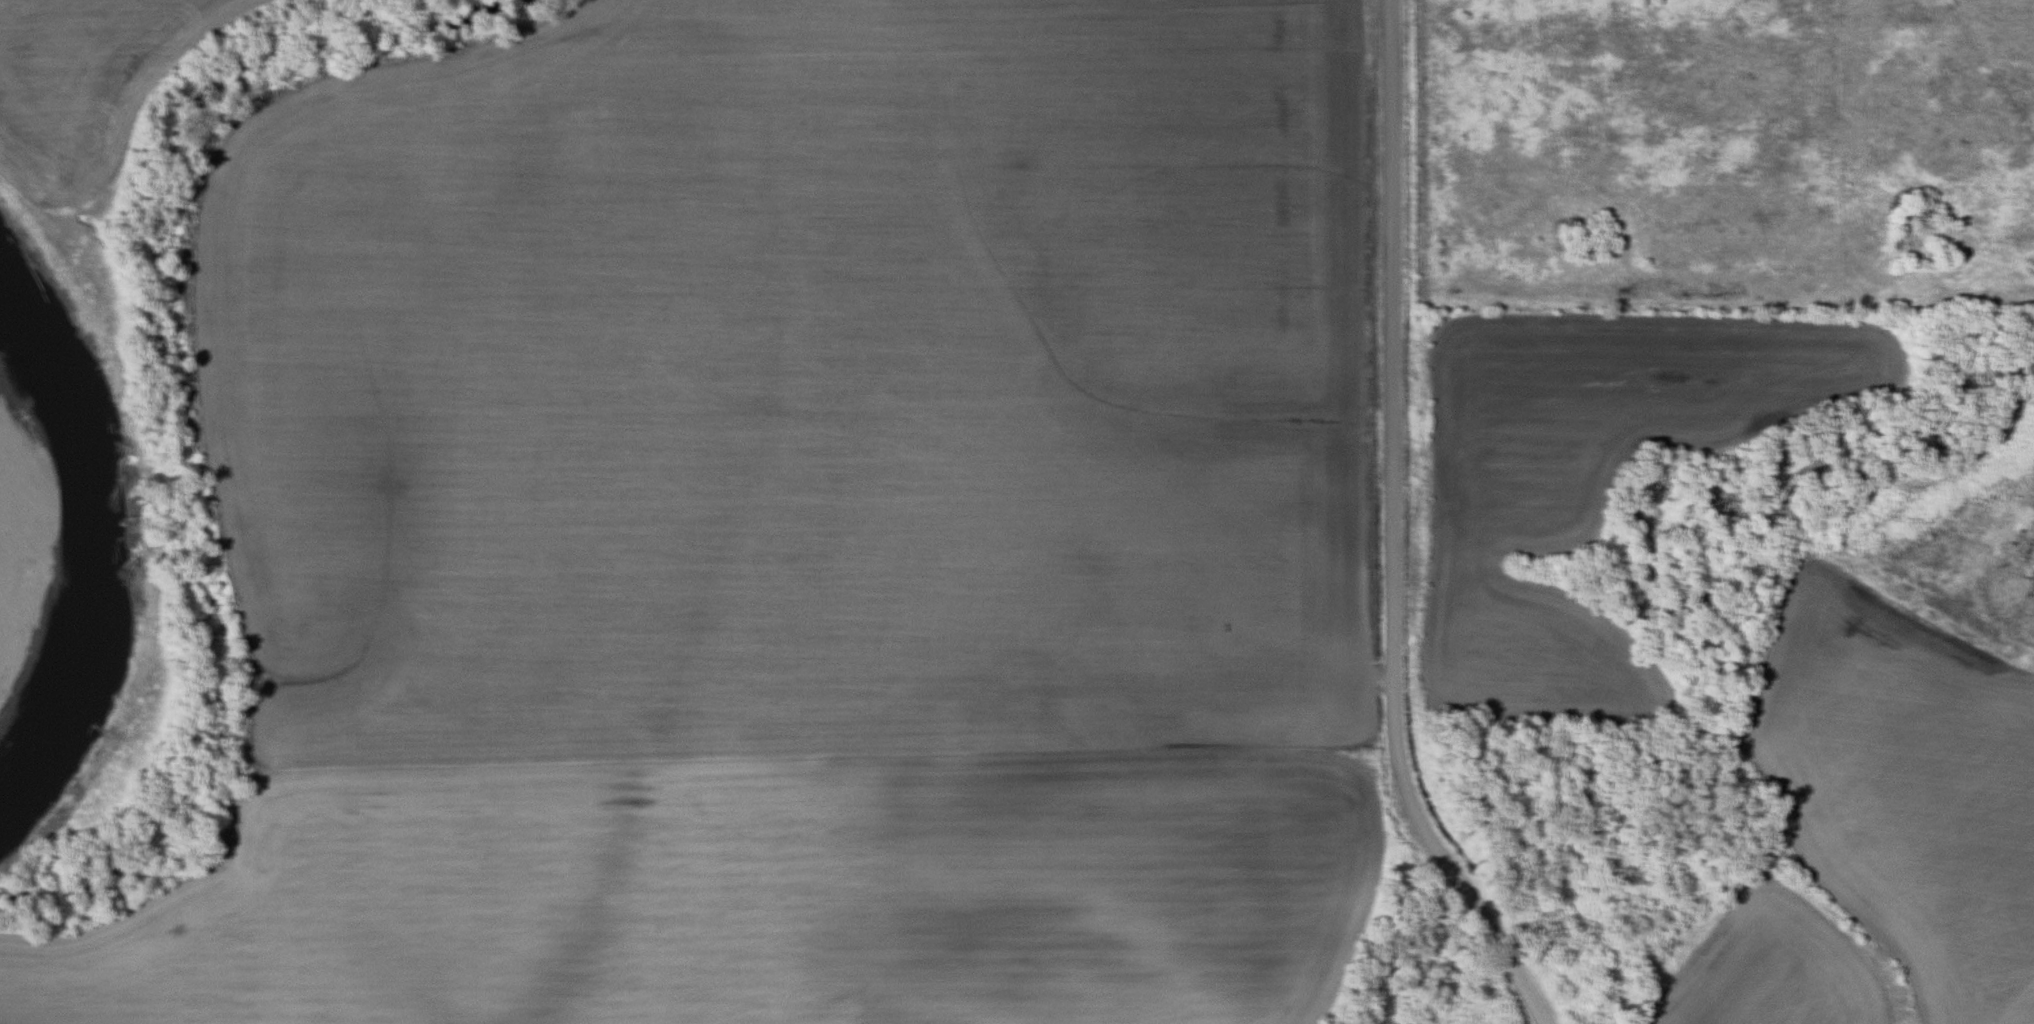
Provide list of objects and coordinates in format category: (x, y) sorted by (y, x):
road: (1393, 531)

